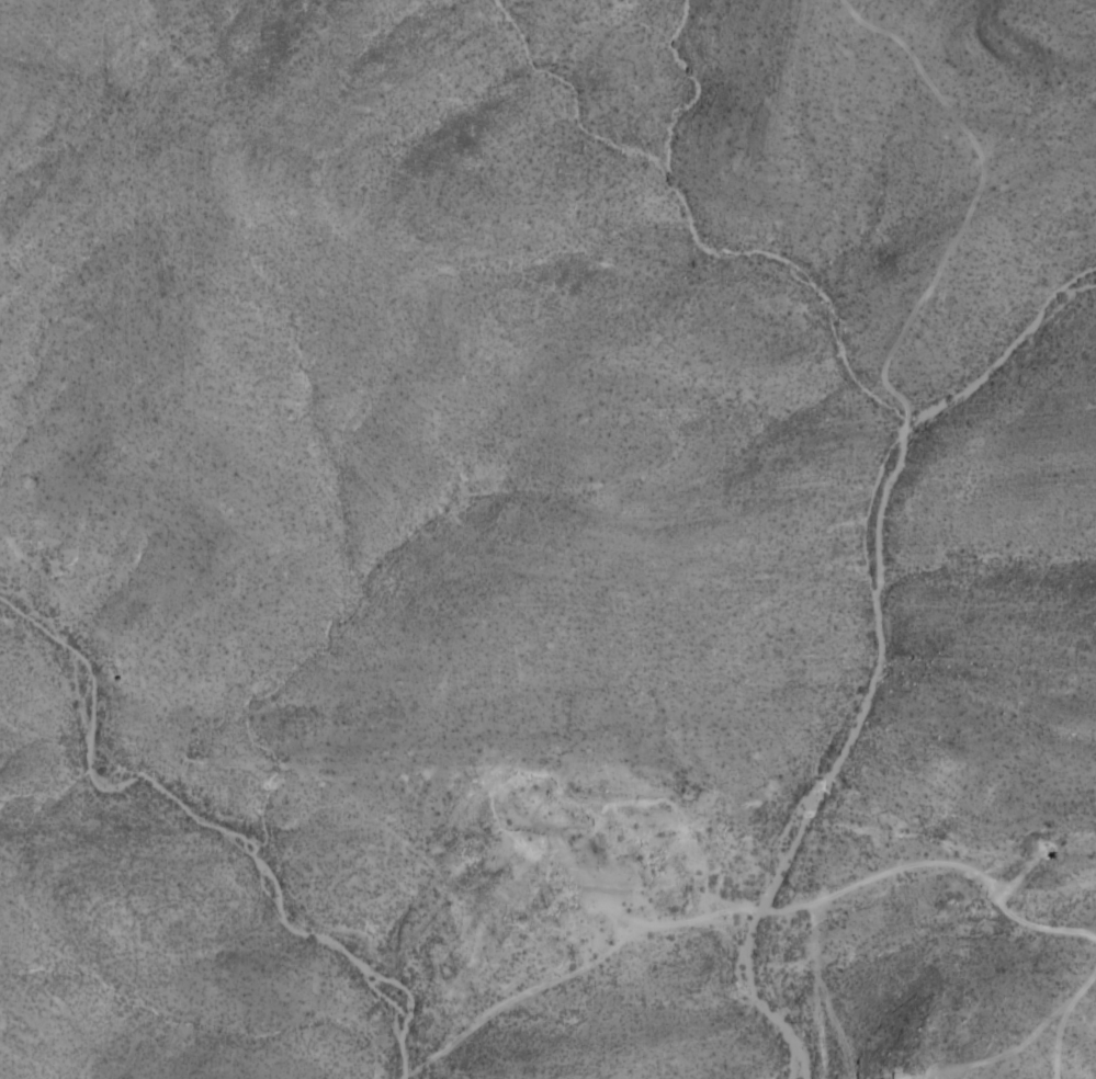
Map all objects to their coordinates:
road: (900, 902)

